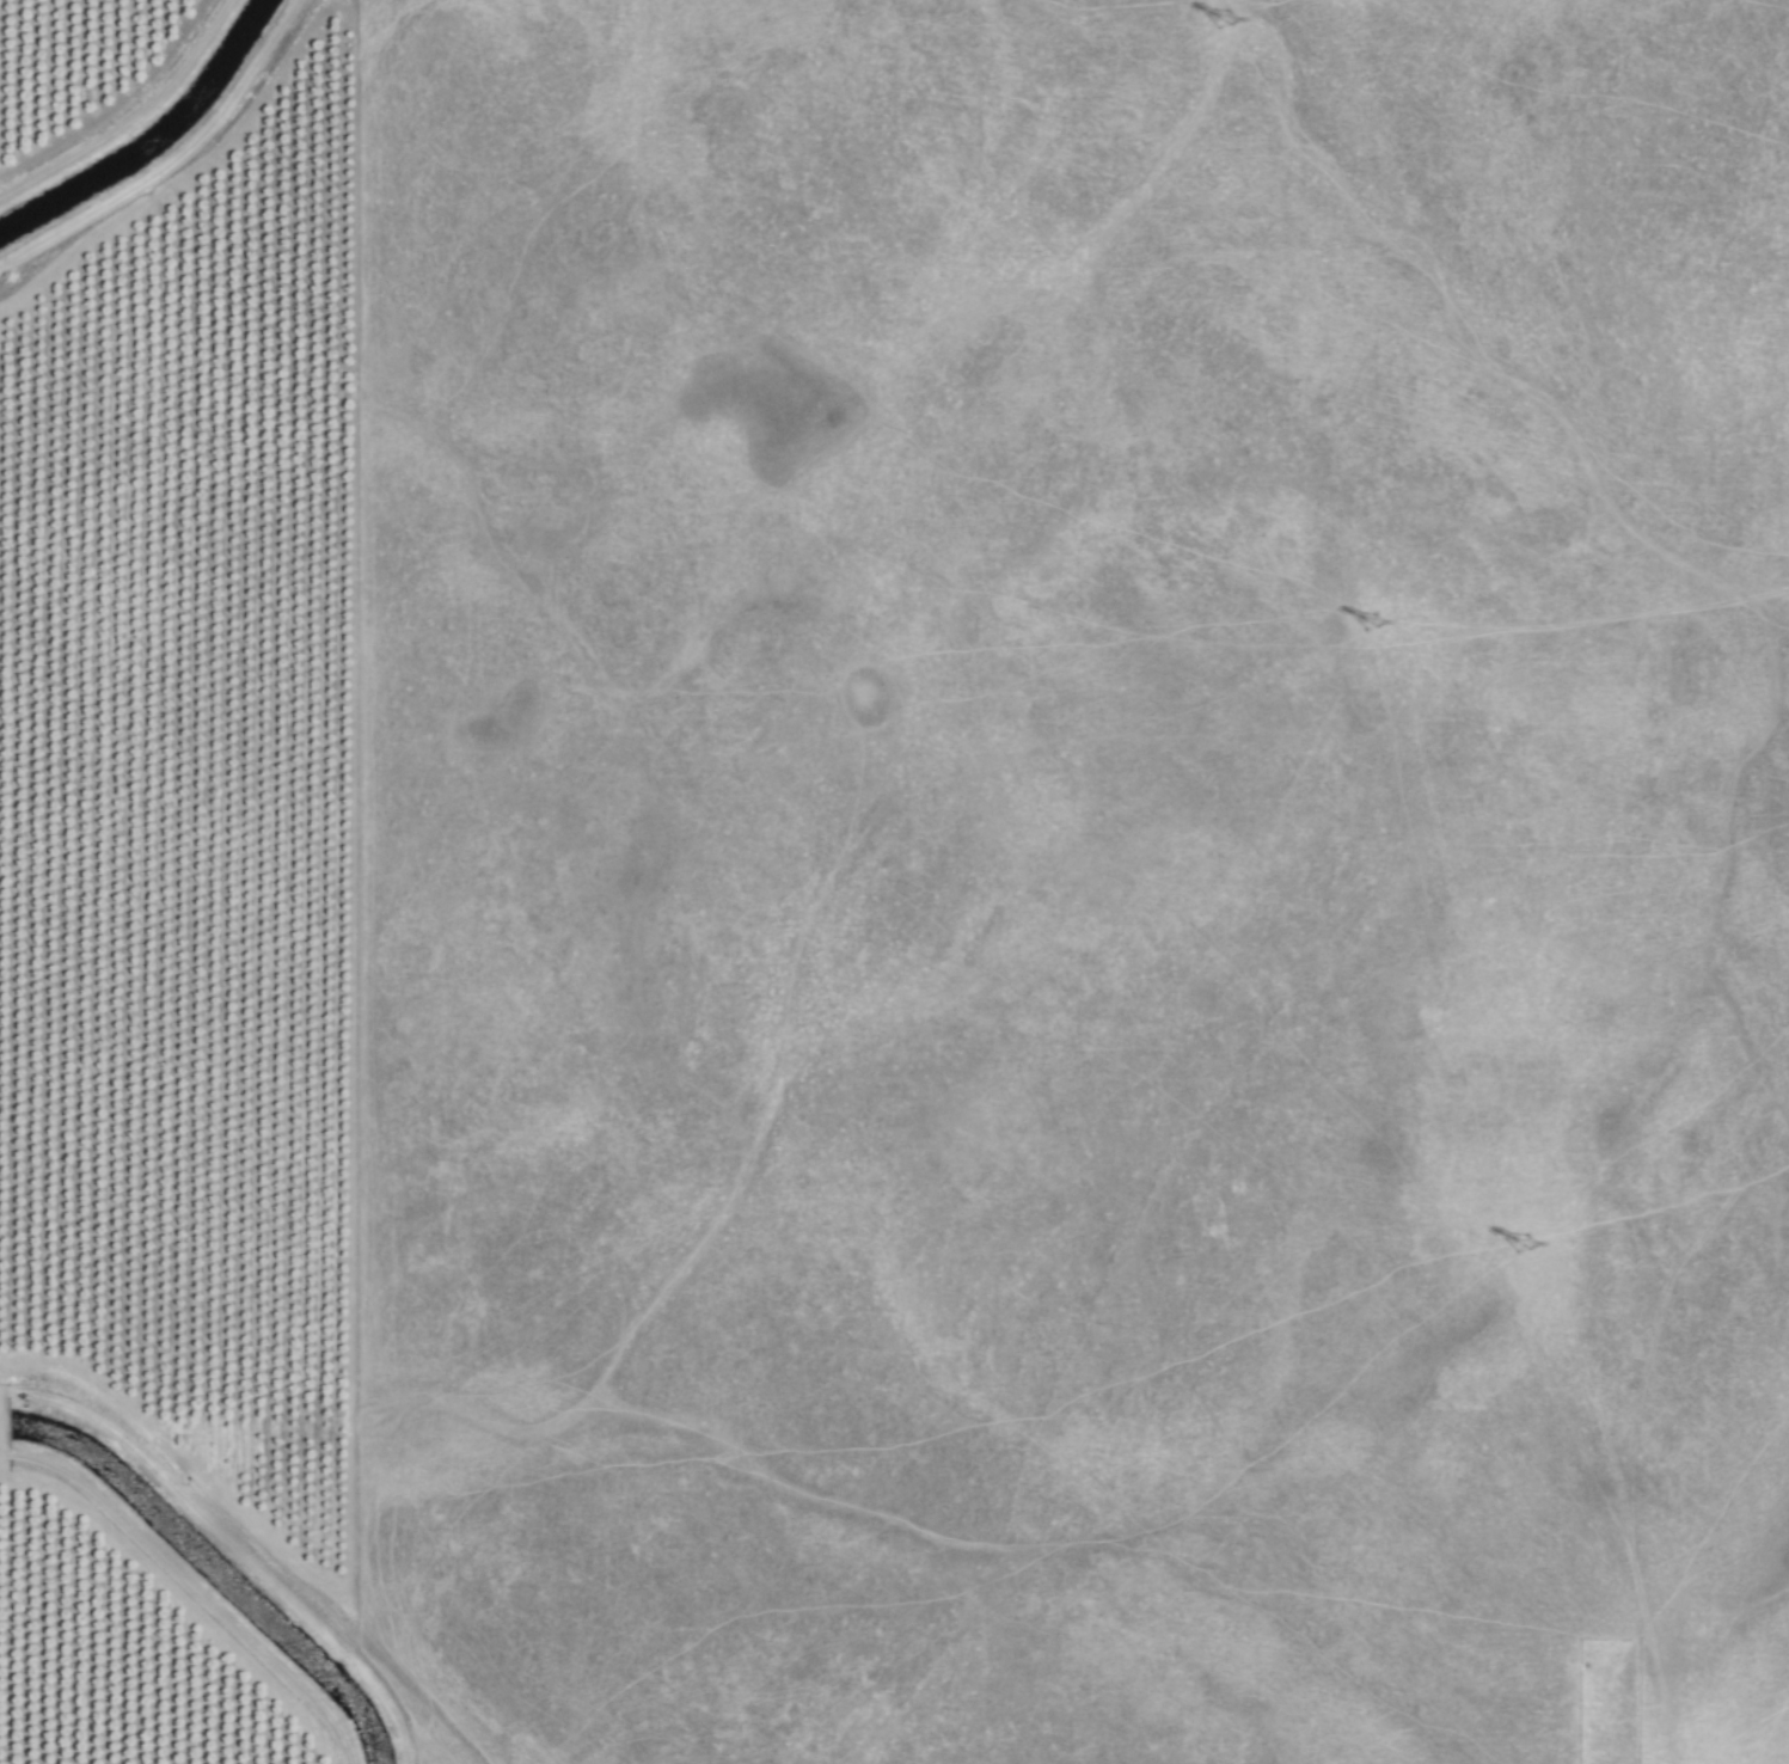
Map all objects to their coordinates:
power tower: (1221, 20)
power tower: (1368, 621)
power tower: (1520, 1245)

